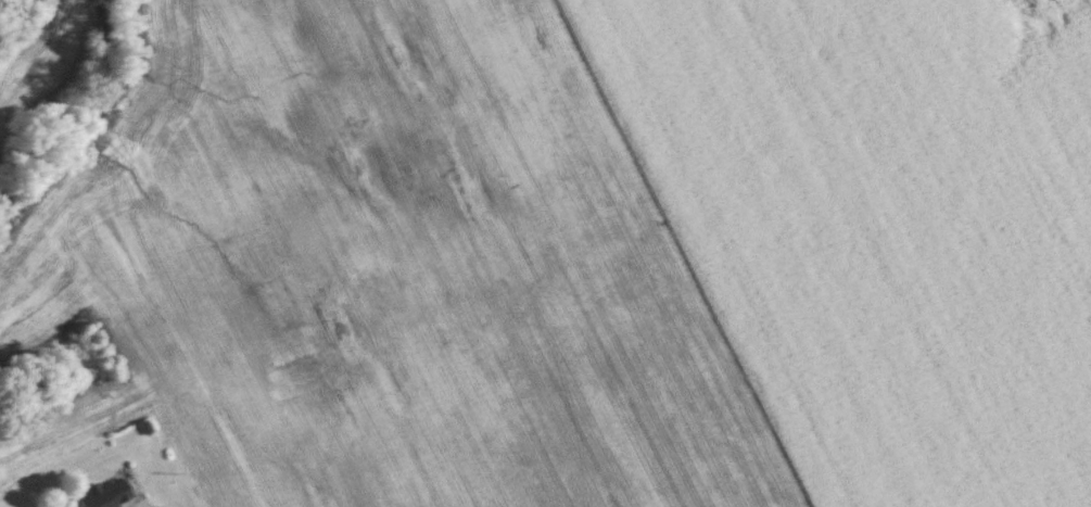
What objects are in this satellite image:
building: (106, 494)

